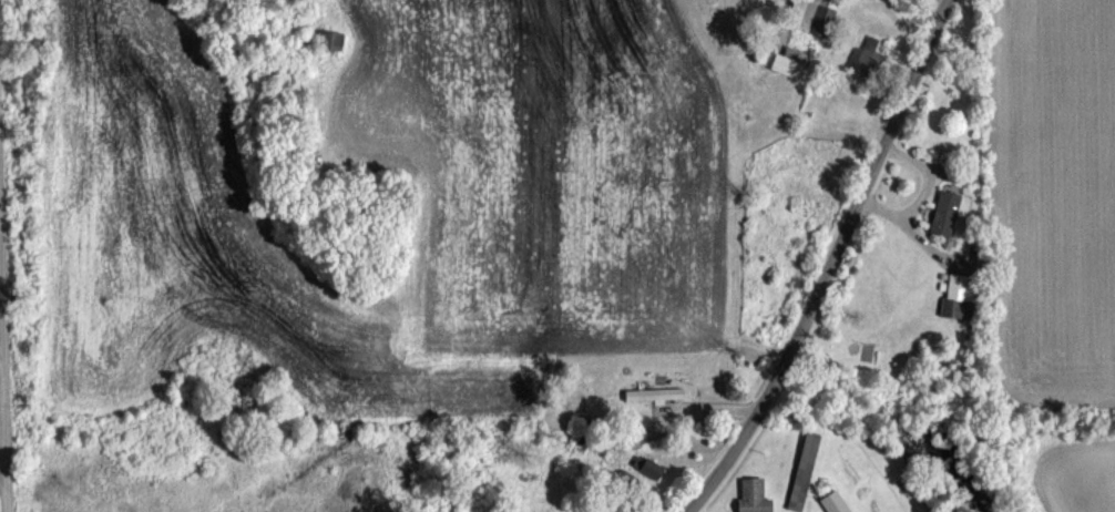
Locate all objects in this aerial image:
building: (809, 13)
building: (330, 41)
building: (869, 54)
building: (785, 63)
road: (924, 177)
building: (945, 214)
road: (906, 229)
road: (830, 263)
road: (6, 297)
building: (957, 297)
road: (3, 342)
building: (654, 395)
building: (652, 470)
road: (3, 471)
building: (804, 472)
building: (753, 496)

